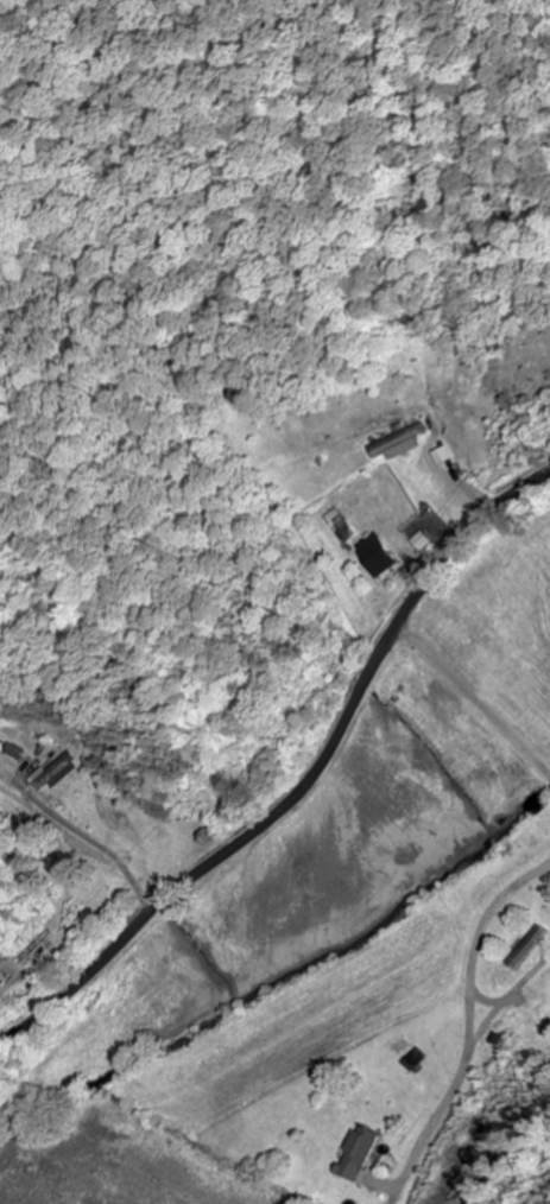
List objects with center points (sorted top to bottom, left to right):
building: (404, 444)
building: (448, 456)
building: (348, 528)
building: (381, 555)
building: (58, 772)
road: (304, 785)
building: (526, 948)
building: (415, 1060)
building: (361, 1152)

